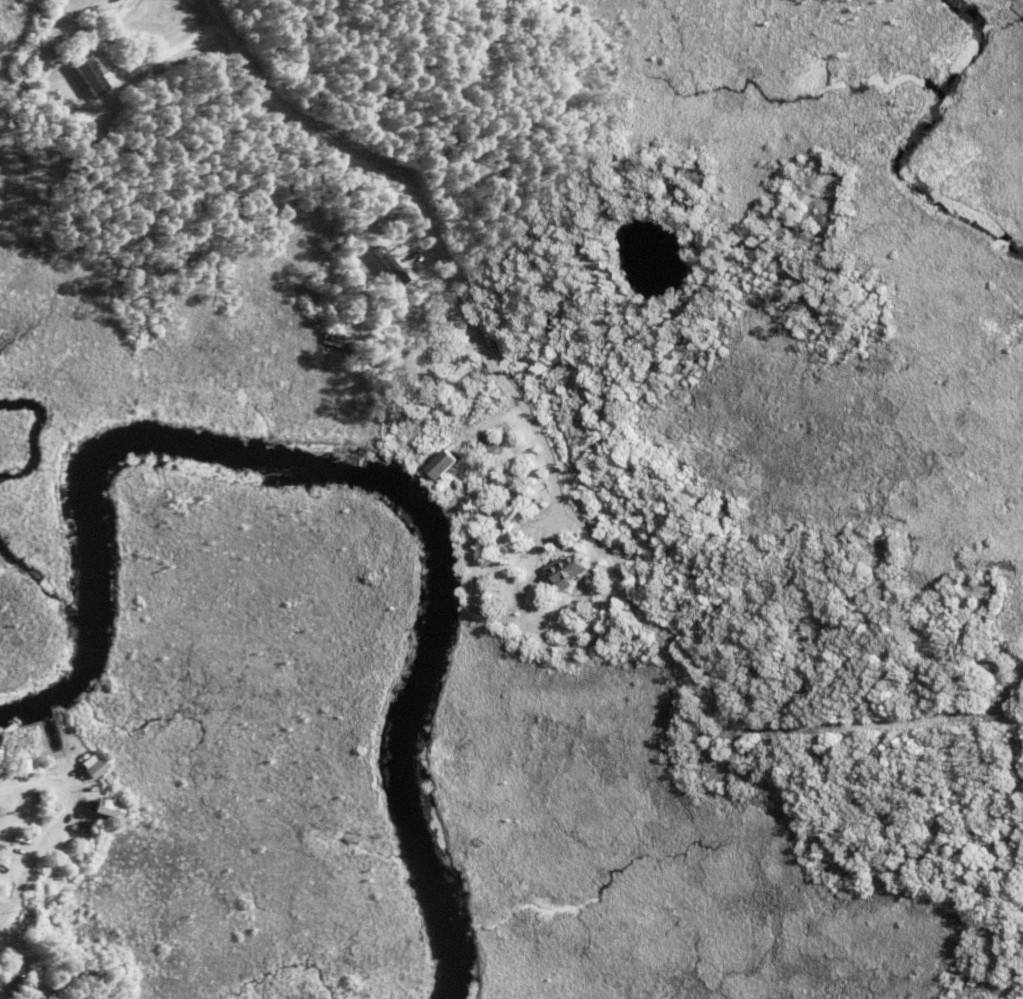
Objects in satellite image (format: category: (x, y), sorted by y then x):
building: (88, 73)
road: (404, 195)
building: (388, 263)
building: (449, 464)
building: (384, 470)
river: (368, 471)
building: (485, 541)
building: (571, 545)
building: (684, 546)
building: (564, 548)
building: (633, 551)
building: (621, 555)
building: (567, 571)
building: (601, 626)
building: (94, 768)
building: (107, 807)
building: (81, 833)

